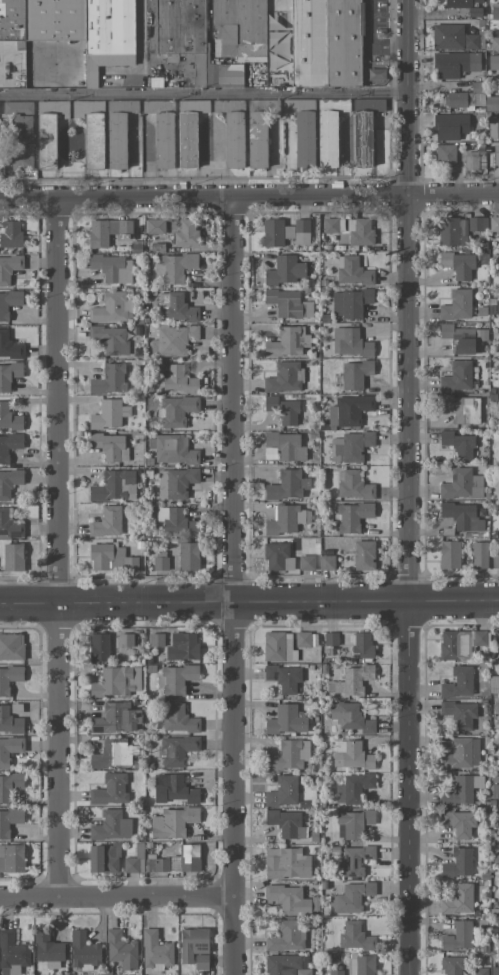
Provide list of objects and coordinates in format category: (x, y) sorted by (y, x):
building: (461, 3)
building: (495, 11)
building: (239, 28)
road: (371, 38)
building: (453, 38)
building: (494, 40)
building: (62, 41)
building: (191, 42)
building: (325, 42)
building: (493, 62)
building: (454, 64)
road: (202, 94)
building: (461, 100)
building: (491, 104)
building: (298, 105)
building: (221, 106)
building: (450, 127)
building: (493, 127)
building: (364, 130)
building: (91, 131)
building: (188, 131)
building: (48, 132)
building: (118, 132)
building: (327, 134)
building: (19, 137)
building: (257, 139)
building: (165, 140)
building: (234, 140)
building: (305, 140)
building: (496, 155)
building: (445, 156)
building: (471, 161)
road: (249, 198)
building: (477, 224)
building: (494, 224)
building: (333, 225)
building: (155, 226)
building: (106, 231)
building: (285, 232)
building: (360, 232)
building: (452, 232)
building: (186, 234)
building: (11, 235)
building: (458, 265)
building: (175, 267)
building: (9, 268)
building: (112, 268)
building: (285, 271)
building: (352, 272)
building: (8, 303)
building: (350, 303)
building: (288, 304)
building: (457, 305)
building: (110, 308)
building: (175, 308)
building: (459, 338)
building: (110, 339)
building: (173, 340)
building: (288, 343)
building: (350, 343)
building: (9, 347)
building: (355, 374)
building: (9, 375)
building: (457, 377)
building: (284, 378)
building: (109, 380)
building: (177, 380)
building: (498, 390)
building: (462, 409)
building: (176, 410)
building: (283, 410)
building: (349, 411)
building: (109, 414)
building: (9, 419)
building: (458, 445)
building: (9, 446)
building: (110, 446)
building: (286, 446)
building: (350, 447)
building: (172, 450)
building: (9, 483)
building: (175, 483)
building: (461, 485)
building: (114, 486)
building: (287, 486)
building: (354, 486)
road: (406, 487)
building: (351, 517)
building: (462, 517)
building: (285, 520)
building: (107, 522)
building: (176, 522)
building: (9, 526)
road: (57, 548)
building: (449, 555)
building: (479, 555)
building: (188, 556)
building: (277, 556)
building: (363, 556)
building: (13, 557)
building: (110, 559)
building: (160, 561)
building: (306, 562)
building: (326, 562)
building: (495, 562)
road: (232, 587)
road: (249, 602)
building: (480, 638)
building: (302, 639)
building: (125, 640)
building: (156, 640)
building: (362, 645)
building: (455, 645)
building: (11, 647)
building: (99, 647)
building: (183, 647)
building: (278, 647)
building: (284, 678)
building: (9, 679)
building: (176, 679)
building: (353, 681)
building: (116, 682)
building: (458, 683)
building: (459, 714)
building: (351, 717)
building: (116, 719)
building: (179, 720)
building: (9, 721)
building: (286, 721)
building: (9, 750)
building: (176, 750)
building: (114, 754)
building: (461, 754)
building: (289, 755)
building: (351, 755)
building: (9, 787)
building: (353, 788)
building: (173, 789)
building: (110, 790)
building: (462, 790)
building: (283, 792)
building: (9, 821)
building: (172, 823)
building: (457, 823)
building: (286, 824)
building: (353, 824)
building: (111, 826)
building: (11, 858)
building: (189, 858)
building: (104, 859)
building: (356, 859)
building: (174, 863)
building: (458, 863)
building: (286, 864)
building: (133, 865)
building: (158, 865)
road: (116, 895)
building: (350, 897)
building: (290, 900)
building: (458, 900)
building: (287, 937)
building: (355, 937)
building: (458, 937)
building: (195, 948)
building: (48, 950)
building: (121, 950)
building: (155, 951)
building: (84, 952)
building: (12, 954)
building: (287, 965)
building: (361, 965)
building: (452, 965)
building: (480, 971)
building: (495, 971)
building: (335, 973)

